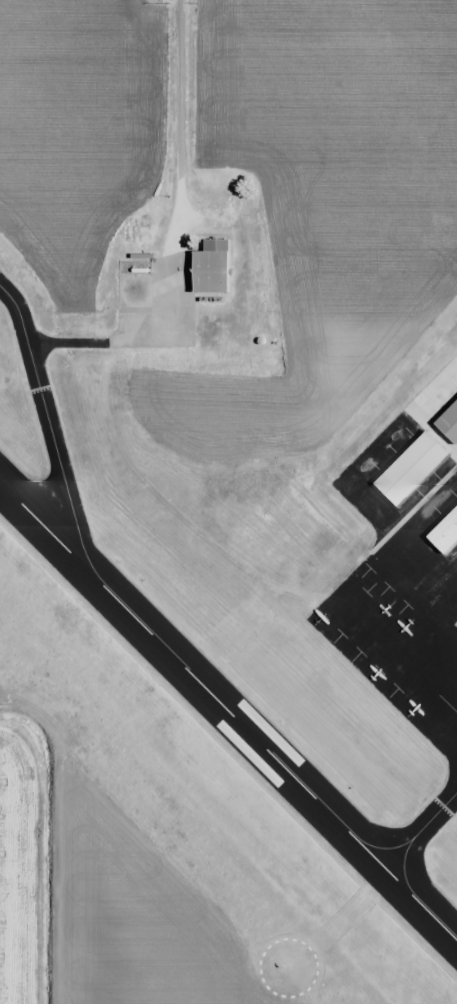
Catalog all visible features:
road: (177, 126)
building: (211, 267)
airport apron: (157, 301)
airport taxiway: (73, 343)
building: (444, 412)
airport taxiway: (49, 425)
building: (402, 462)
airport: (235, 488)
building: (440, 523)
airport apron: (405, 565)
airport runway: (228, 711)
airport taxiway: (420, 830)

